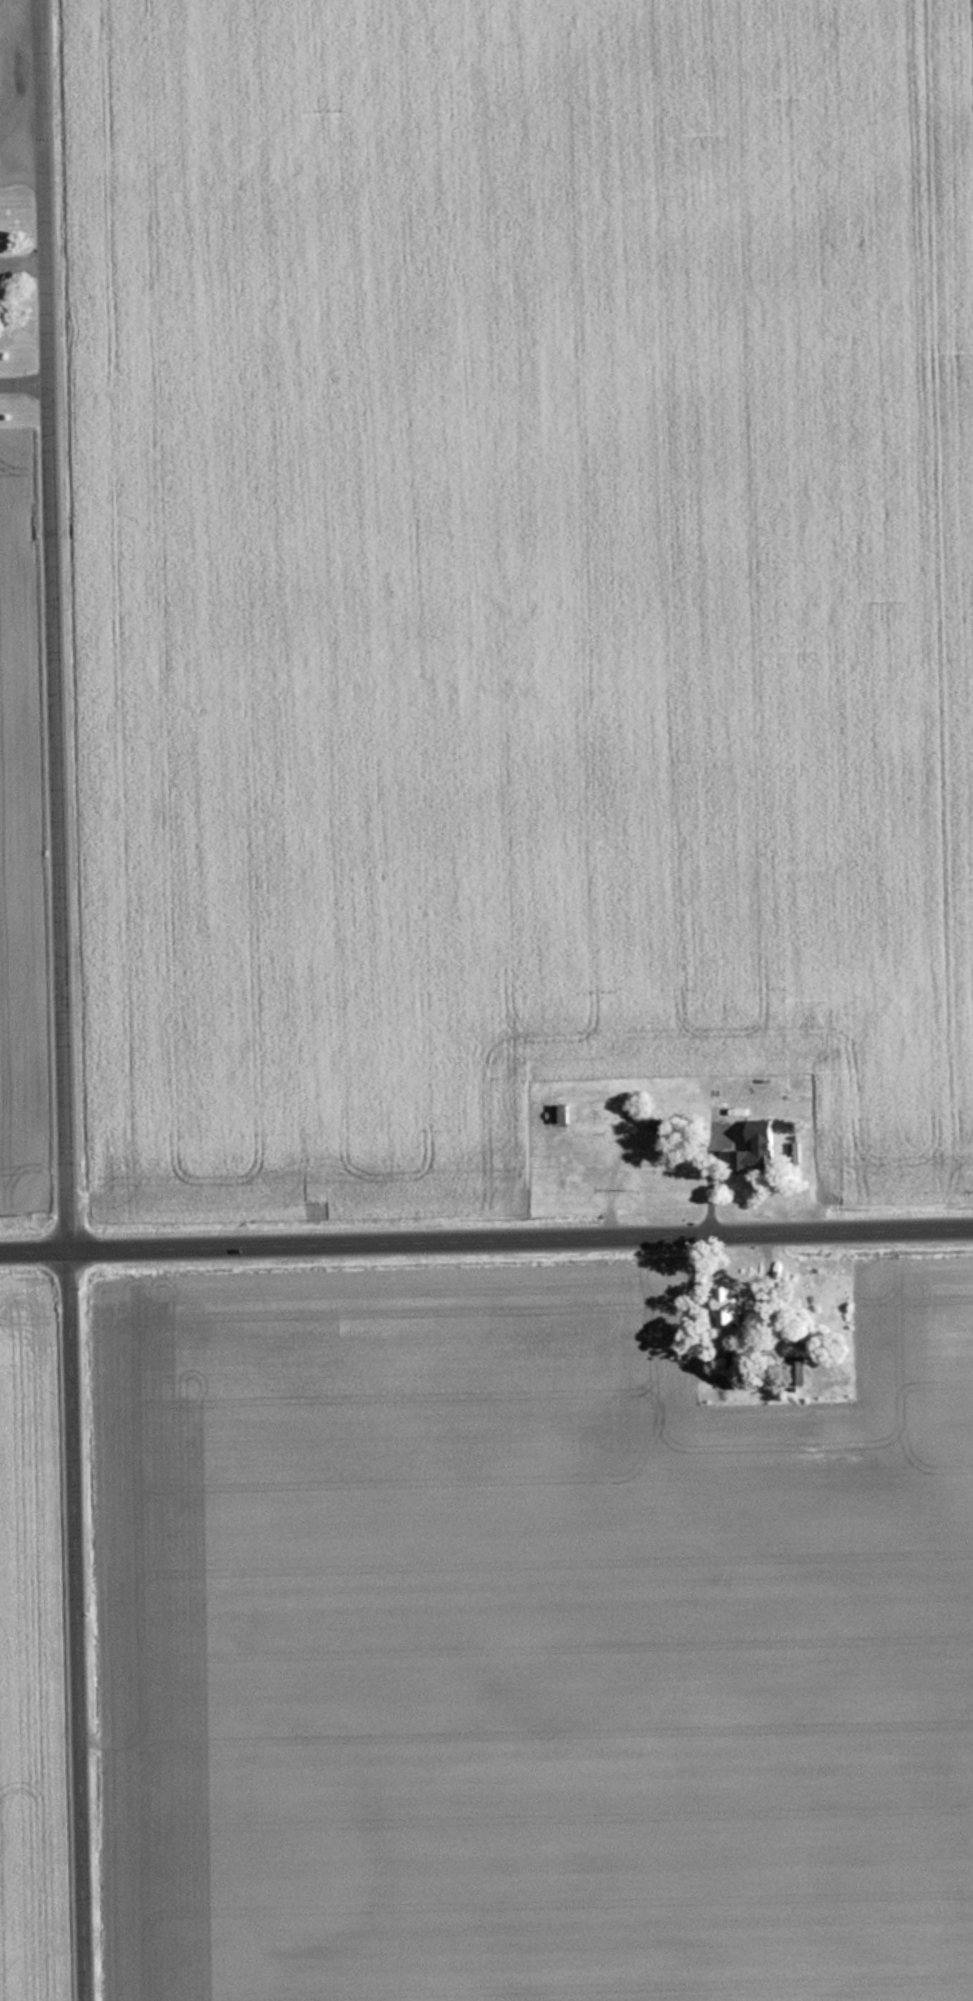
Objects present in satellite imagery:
building: (4, 109)
road: (69, 1000)
building: (715, 1113)
building: (595, 1118)
building: (757, 1155)
road: (486, 1238)
building: (728, 1306)
building: (734, 1355)
building: (796, 1370)
building: (836, 1435)

